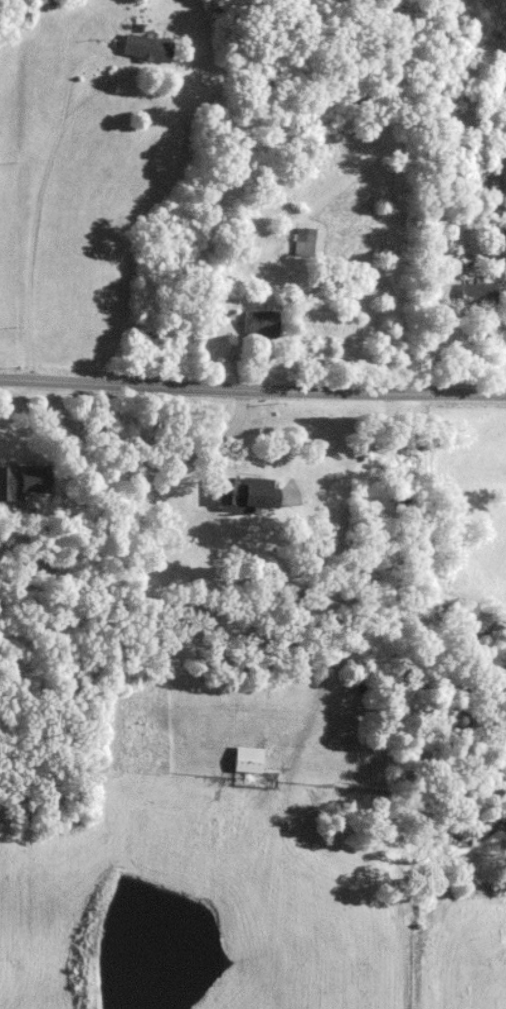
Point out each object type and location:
building: (145, 49)
road: (51, 147)
building: (496, 241)
building: (302, 242)
building: (477, 293)
building: (260, 323)
road: (253, 380)
building: (19, 480)
building: (243, 493)
building: (245, 759)

